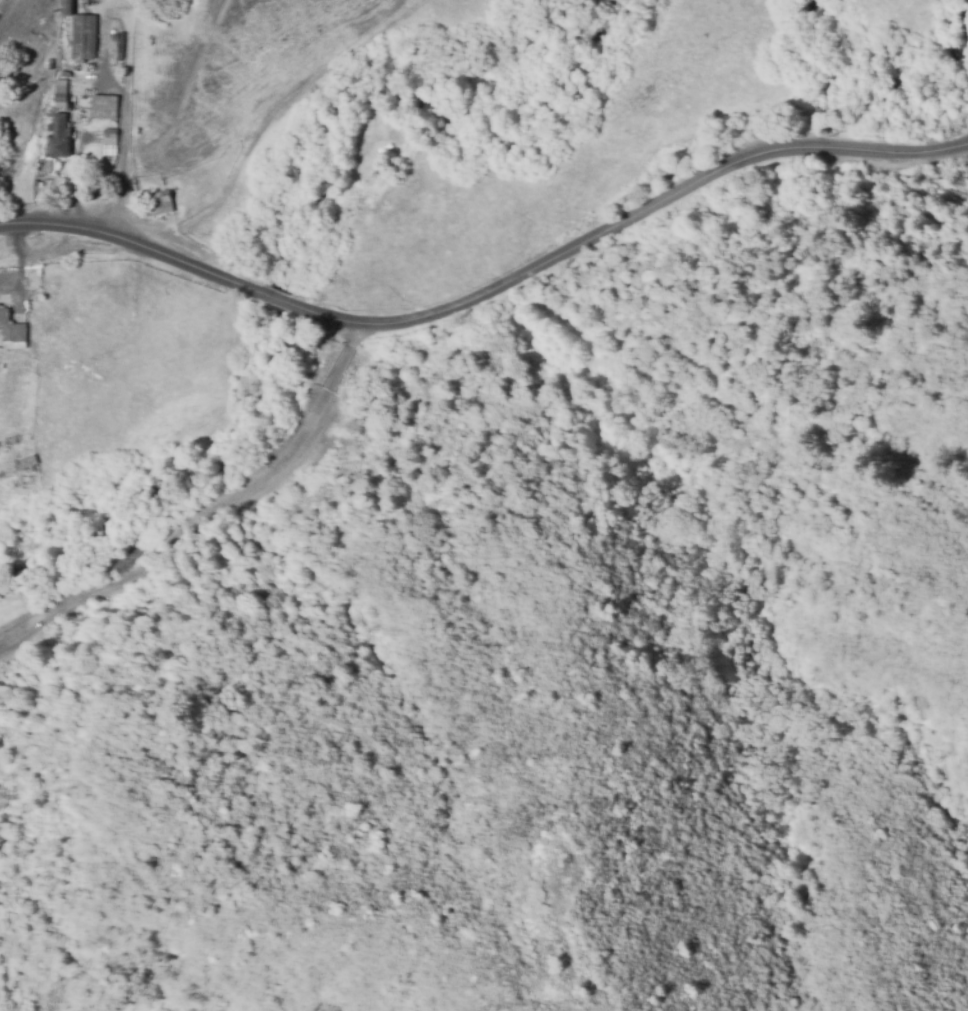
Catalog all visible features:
building: (64, 7)
building: (82, 37)
building: (58, 93)
building: (58, 136)
building: (108, 142)
road: (625, 225)
road: (137, 248)
road: (280, 299)
building: (10, 328)
road: (199, 510)

